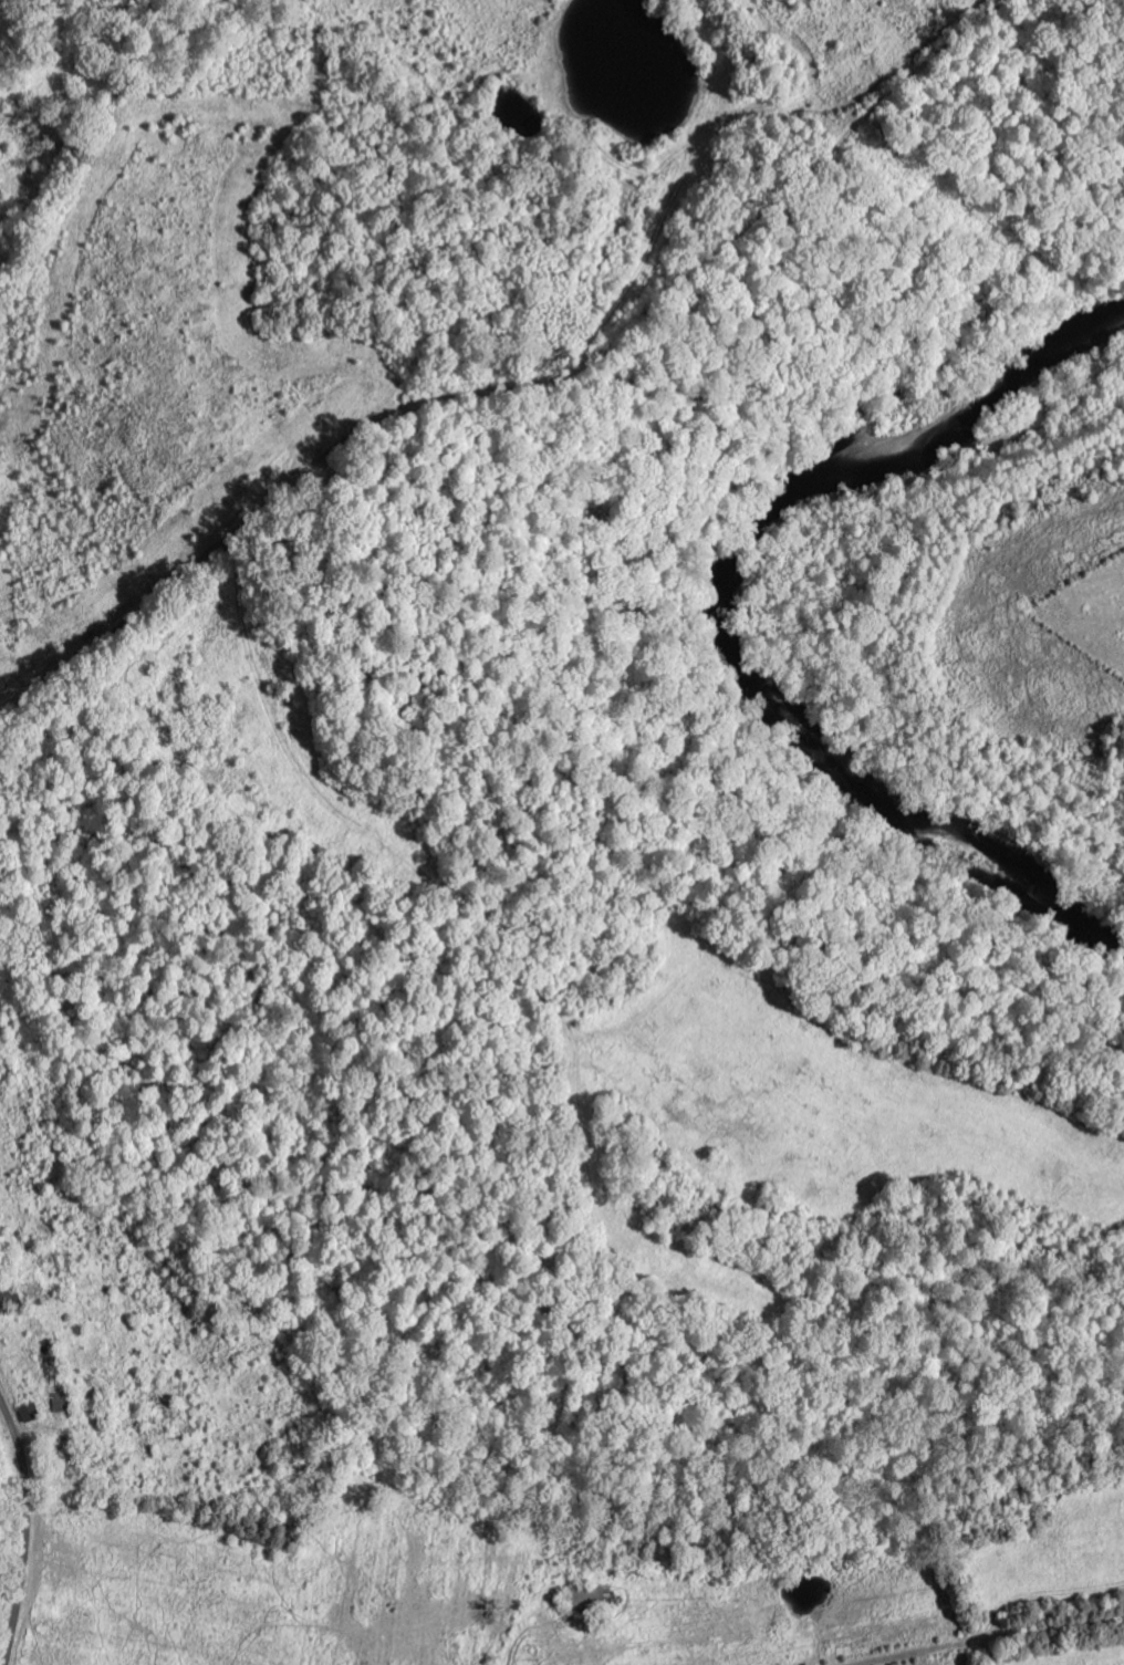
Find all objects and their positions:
road: (289, 486)
road: (116, 627)
road: (24, 1531)
road: (995, 1638)

